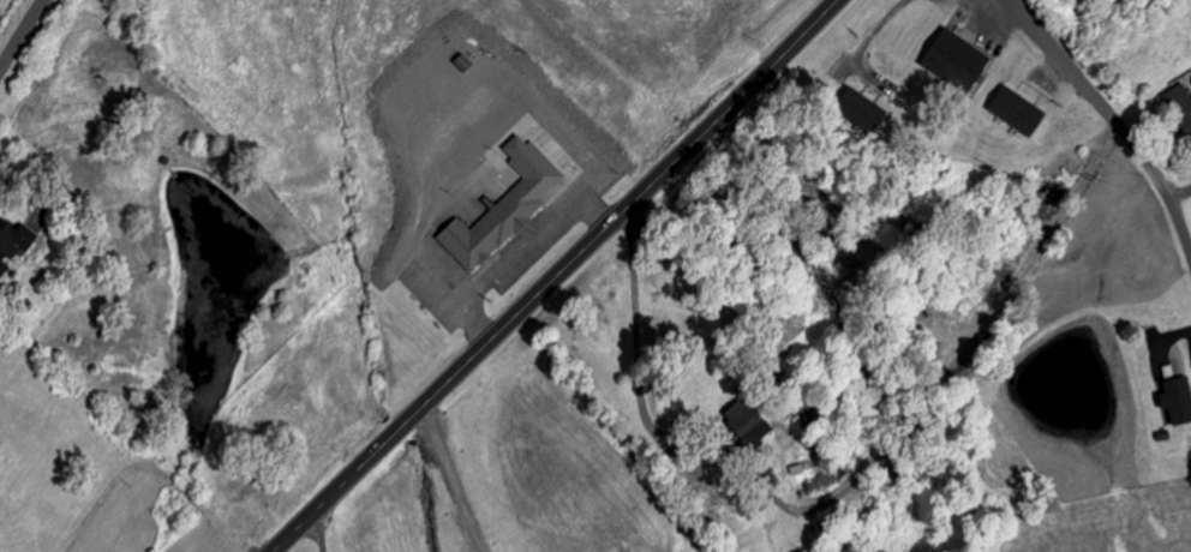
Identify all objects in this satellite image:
road: (23, 35)
building: (959, 62)
building: (863, 109)
building: (1021, 112)
road: (1111, 119)
building: (509, 206)
building: (16, 246)
road: (556, 277)
building: (1180, 401)

